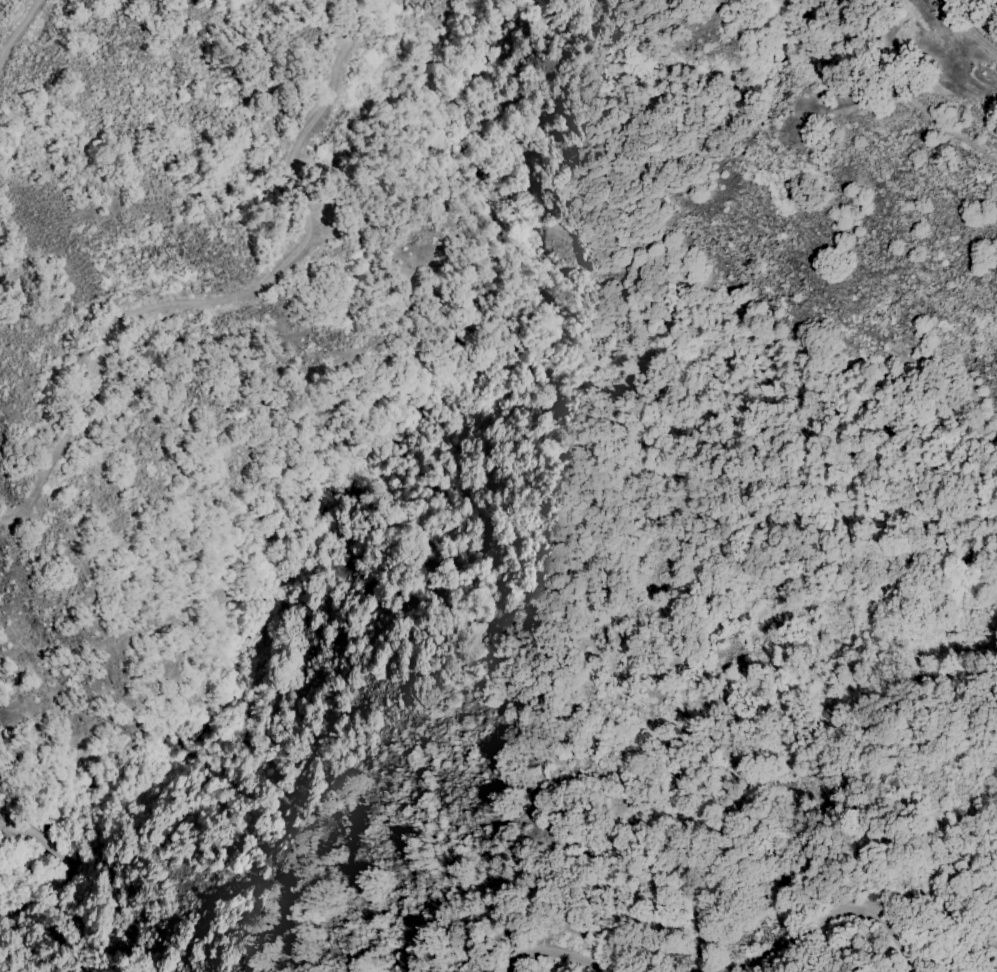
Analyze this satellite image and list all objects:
road: (18, 30)
road: (968, 30)
road: (235, 296)
road: (80, 864)

